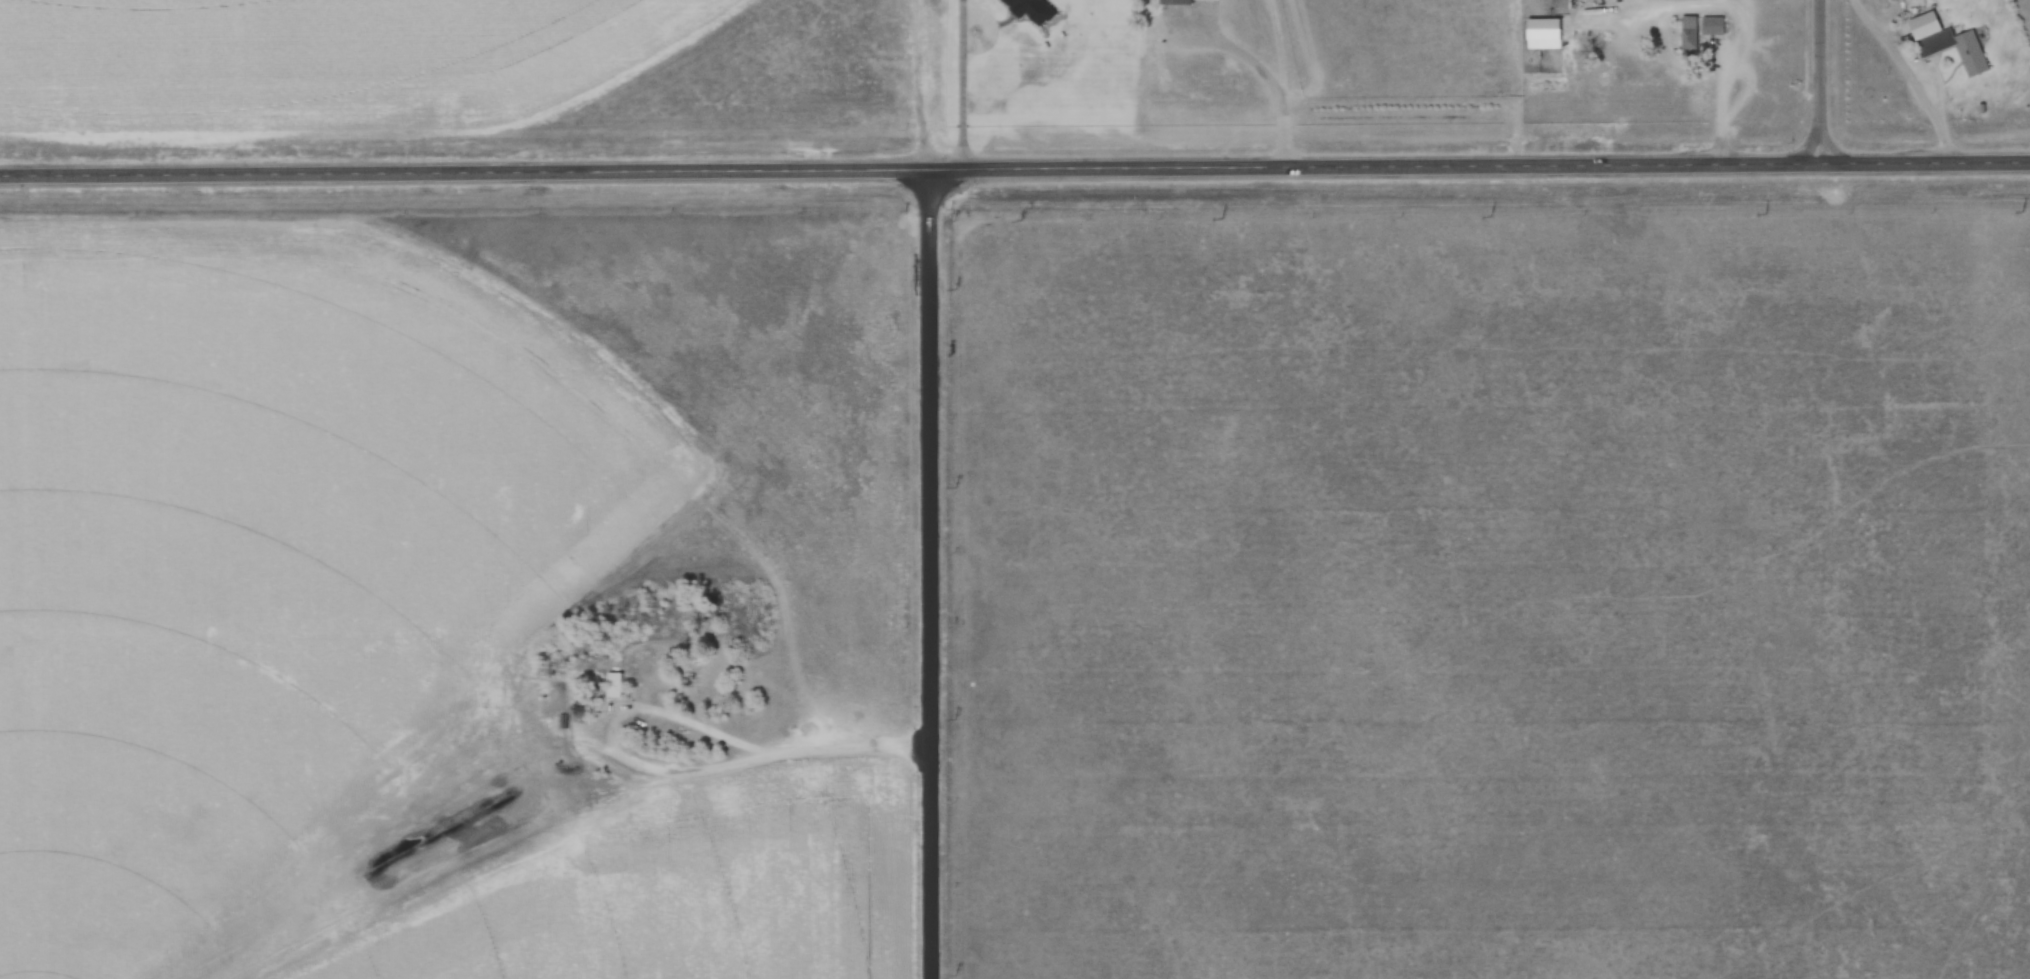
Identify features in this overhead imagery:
building: (1184, 0)
building: (1030, 5)
building: (1919, 24)
building: (1708, 26)
building: (1685, 35)
building: (1932, 44)
road: (1725, 45)
road: (1820, 82)
road: (961, 84)
road: (1014, 168)
road: (928, 574)
building: (617, 685)

